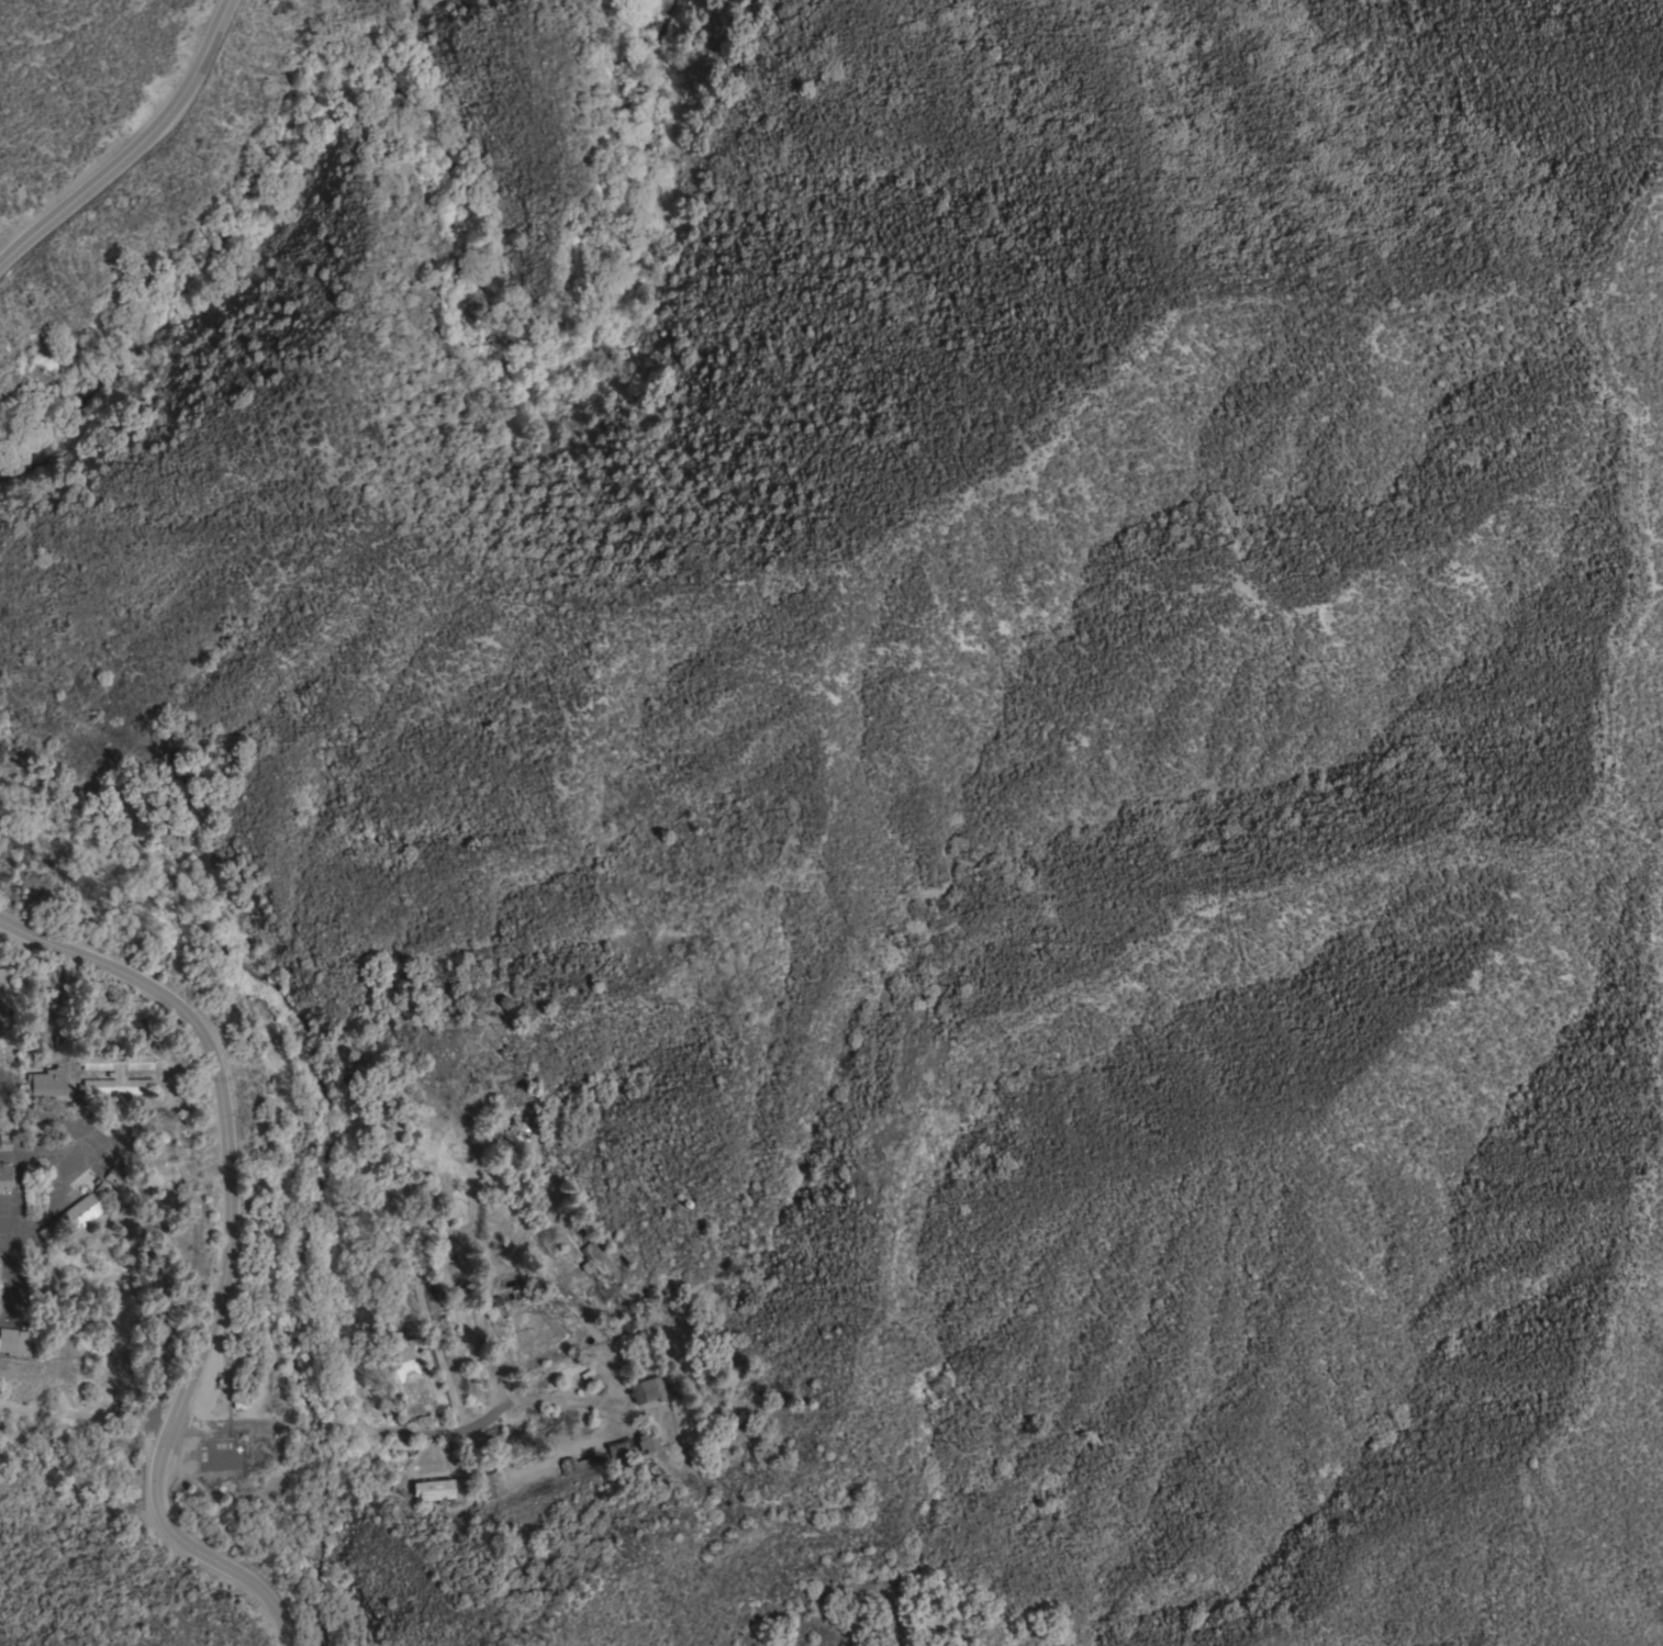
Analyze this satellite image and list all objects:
road: (133, 148)
building: (1, 985)
building: (257, 1009)
building: (279, 1042)
building: (116, 1075)
building: (45, 1083)
building: (514, 1141)
building: (4, 1142)
building: (5, 1177)
building: (118, 1177)
building: (70, 1219)
road: (227, 1256)
building: (593, 1258)
building: (641, 1340)
building: (14, 1342)
building: (402, 1354)
building: (646, 1390)
building: (378, 1398)
road: (522, 1399)
road: (83, 1414)
road: (185, 1426)
building: (647, 1442)
building: (620, 1448)
building: (572, 1466)
building: (492, 1487)
building: (442, 1490)
wastewater plant: (558, 1526)

